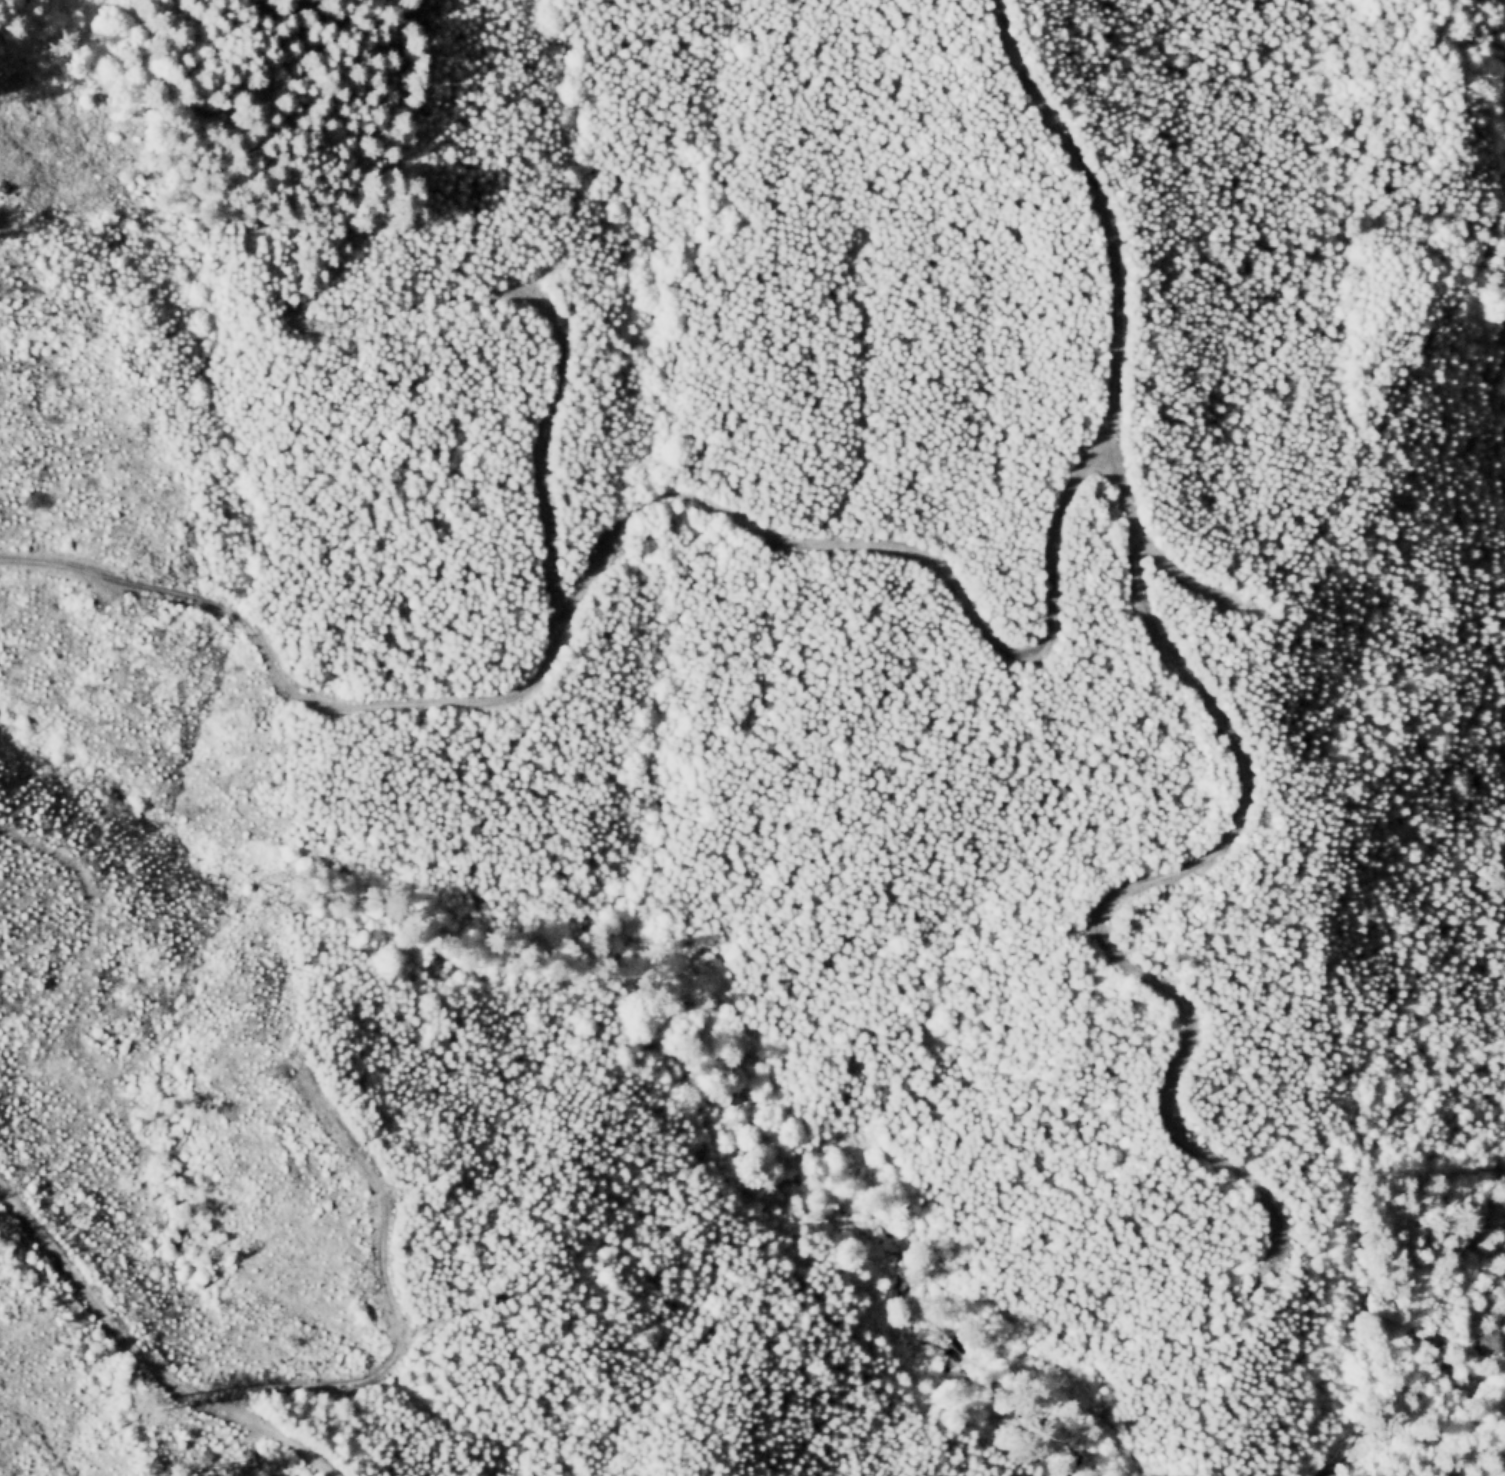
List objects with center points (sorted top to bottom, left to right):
road: (619, 523)
road: (1186, 580)
road: (281, 682)
road: (1209, 710)
road: (460, 1315)
road: (309, 1384)
road: (267, 1430)

